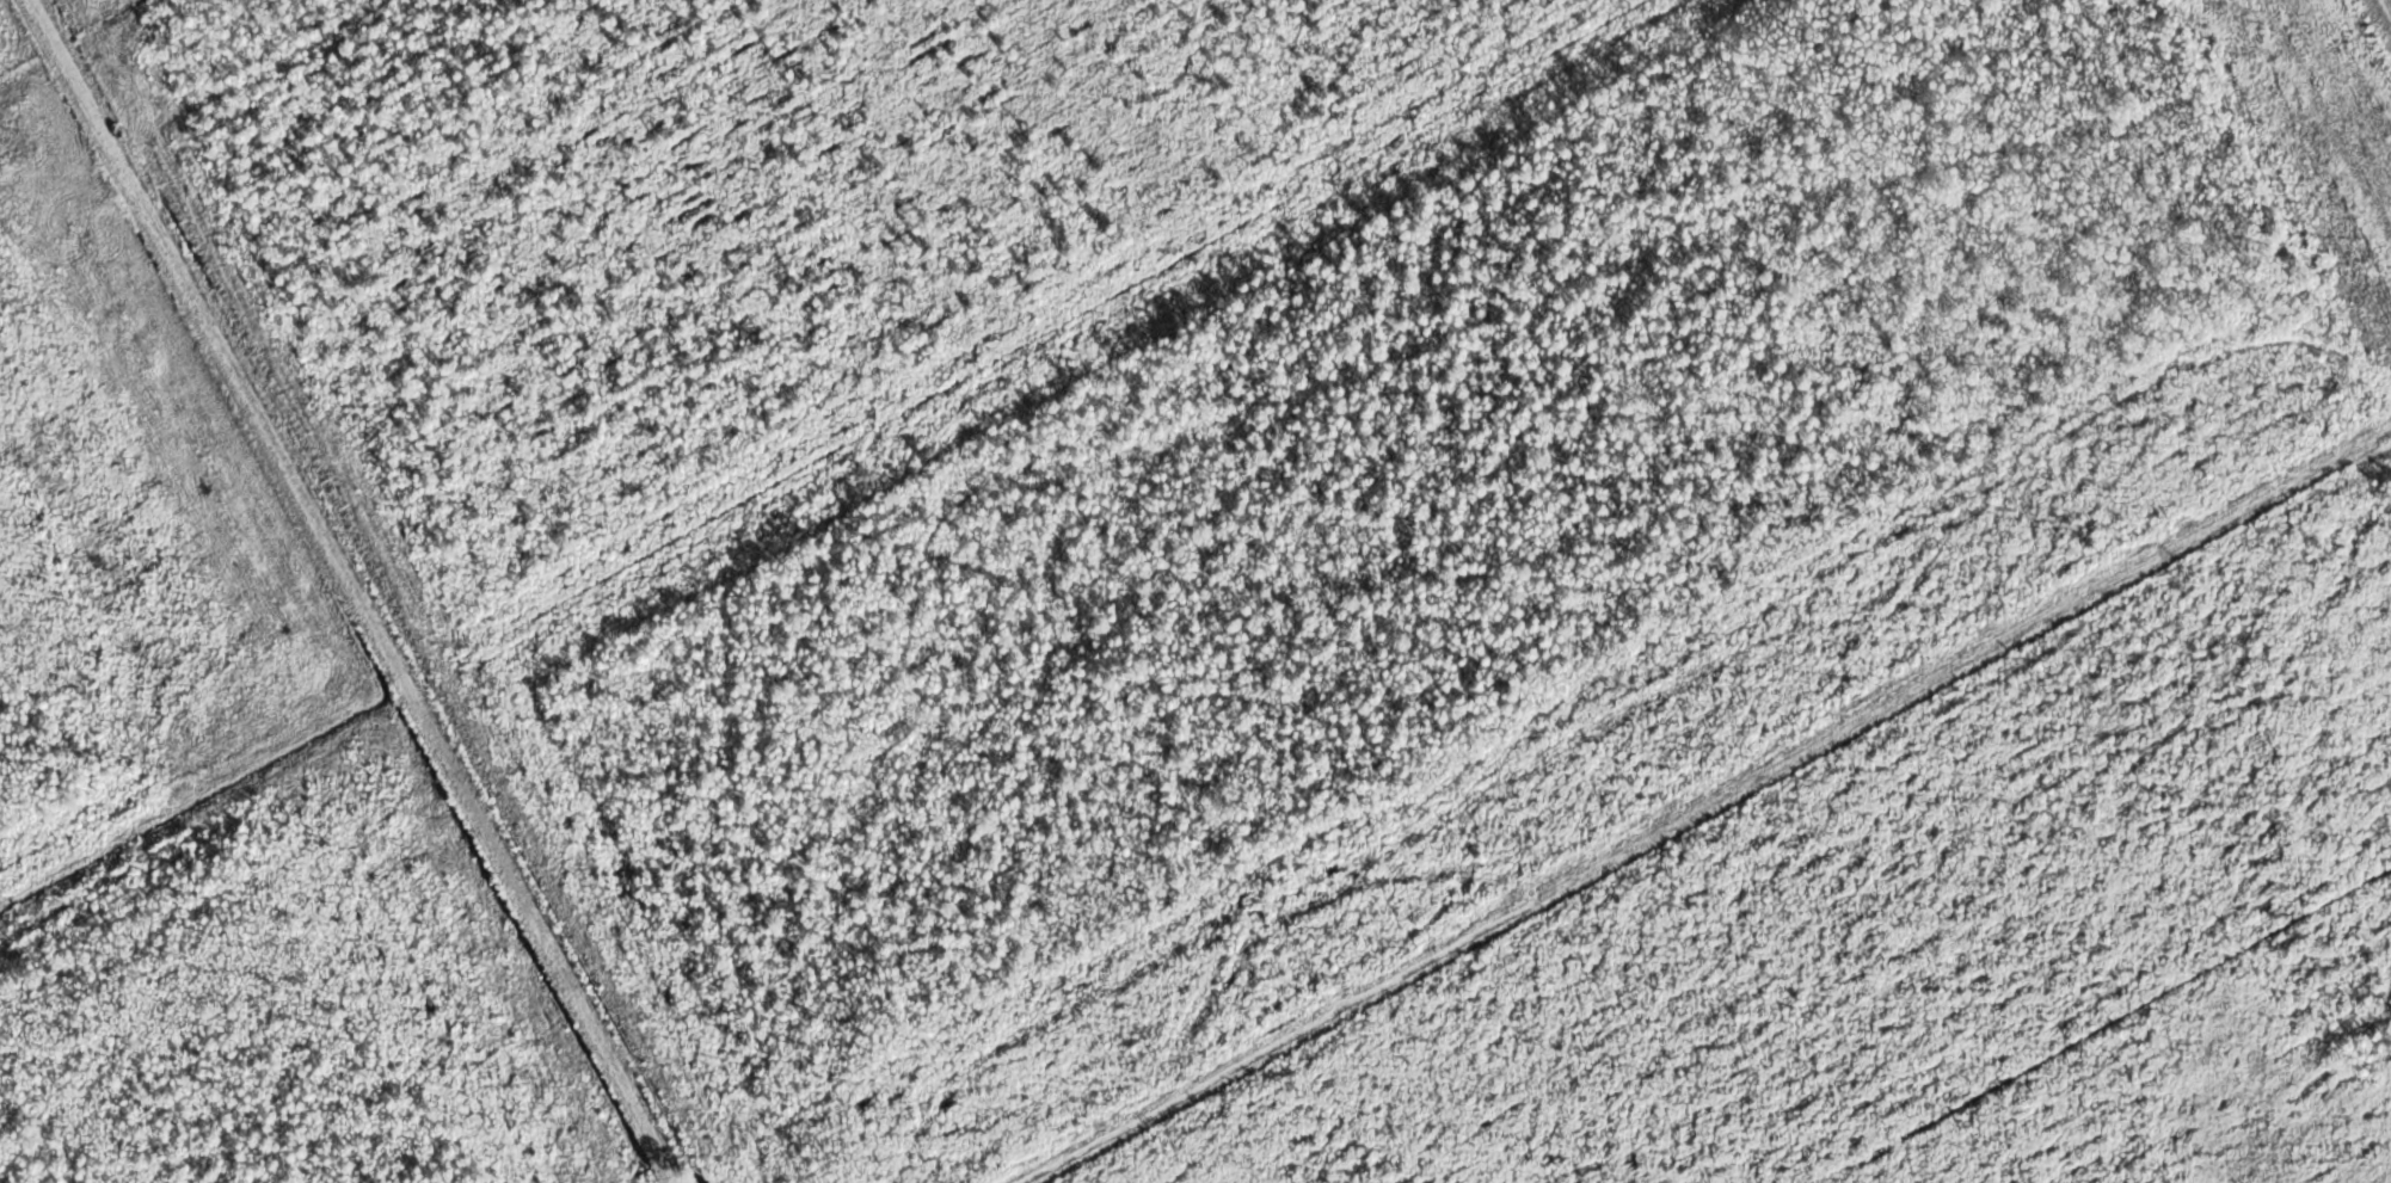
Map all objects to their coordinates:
road: (2343, 84)

